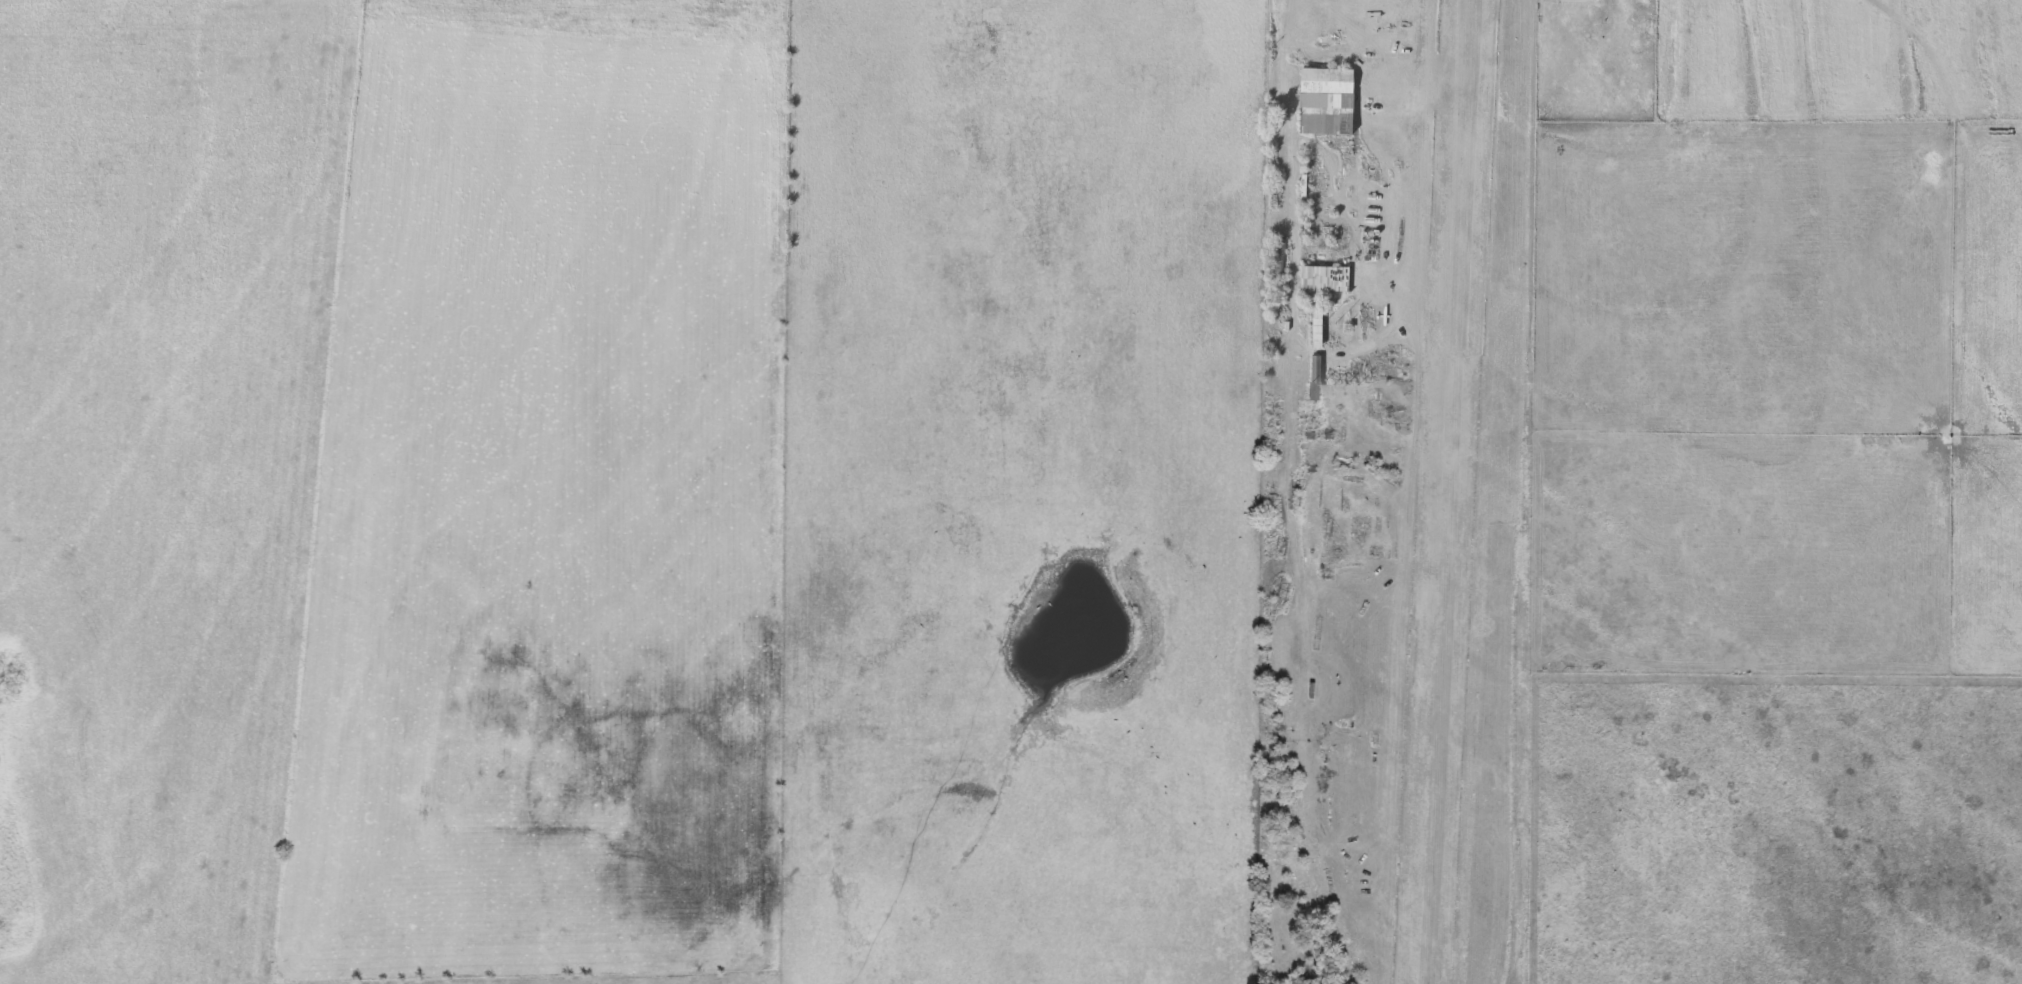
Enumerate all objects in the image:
building: (1323, 19)
building: (1340, 79)
building: (1327, 118)
building: (1276, 254)
building: (1325, 276)
building: (1317, 326)
airport runway: (1452, 492)
airport: (1403, 493)

